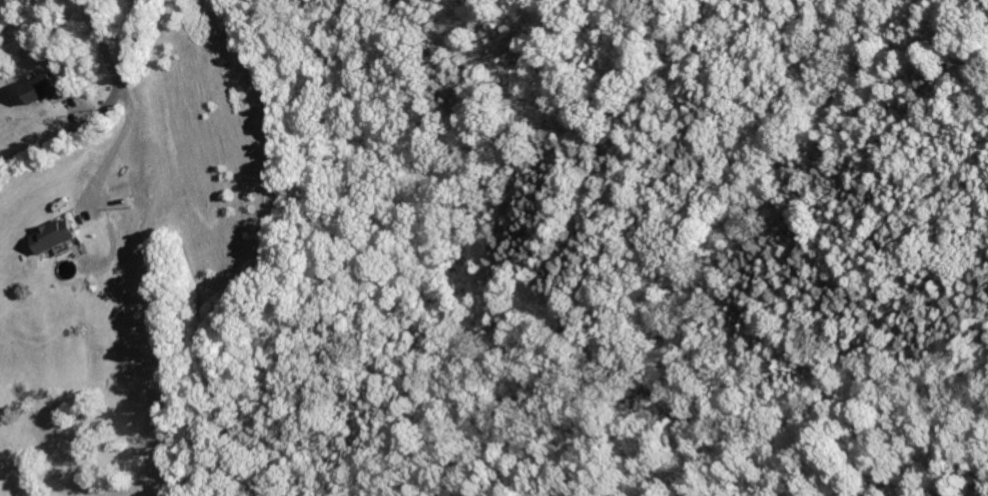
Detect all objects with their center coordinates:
road: (101, 41)
building: (42, 89)
road: (102, 107)
road: (114, 146)
building: (57, 235)

